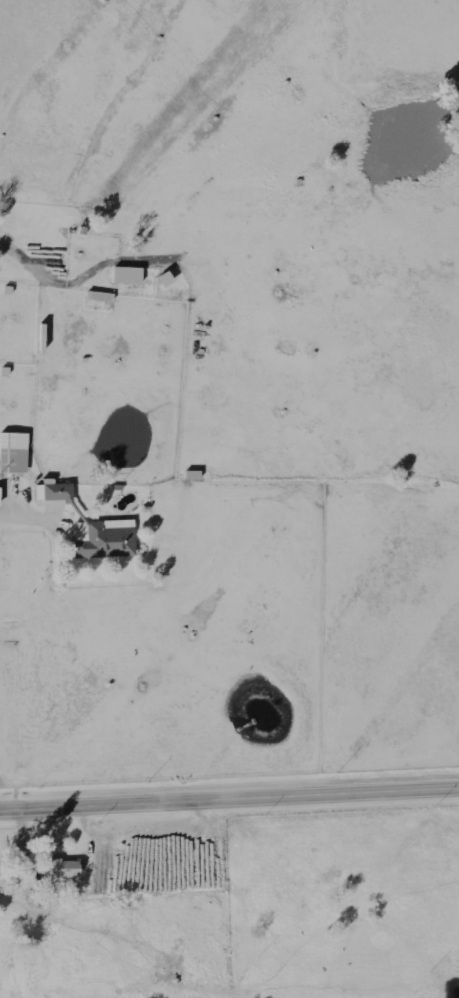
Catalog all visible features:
building: (102, 298)
building: (38, 341)
building: (12, 456)
building: (51, 495)
building: (1, 498)
road: (30, 518)
building: (101, 542)
road: (229, 800)
building: (56, 871)

